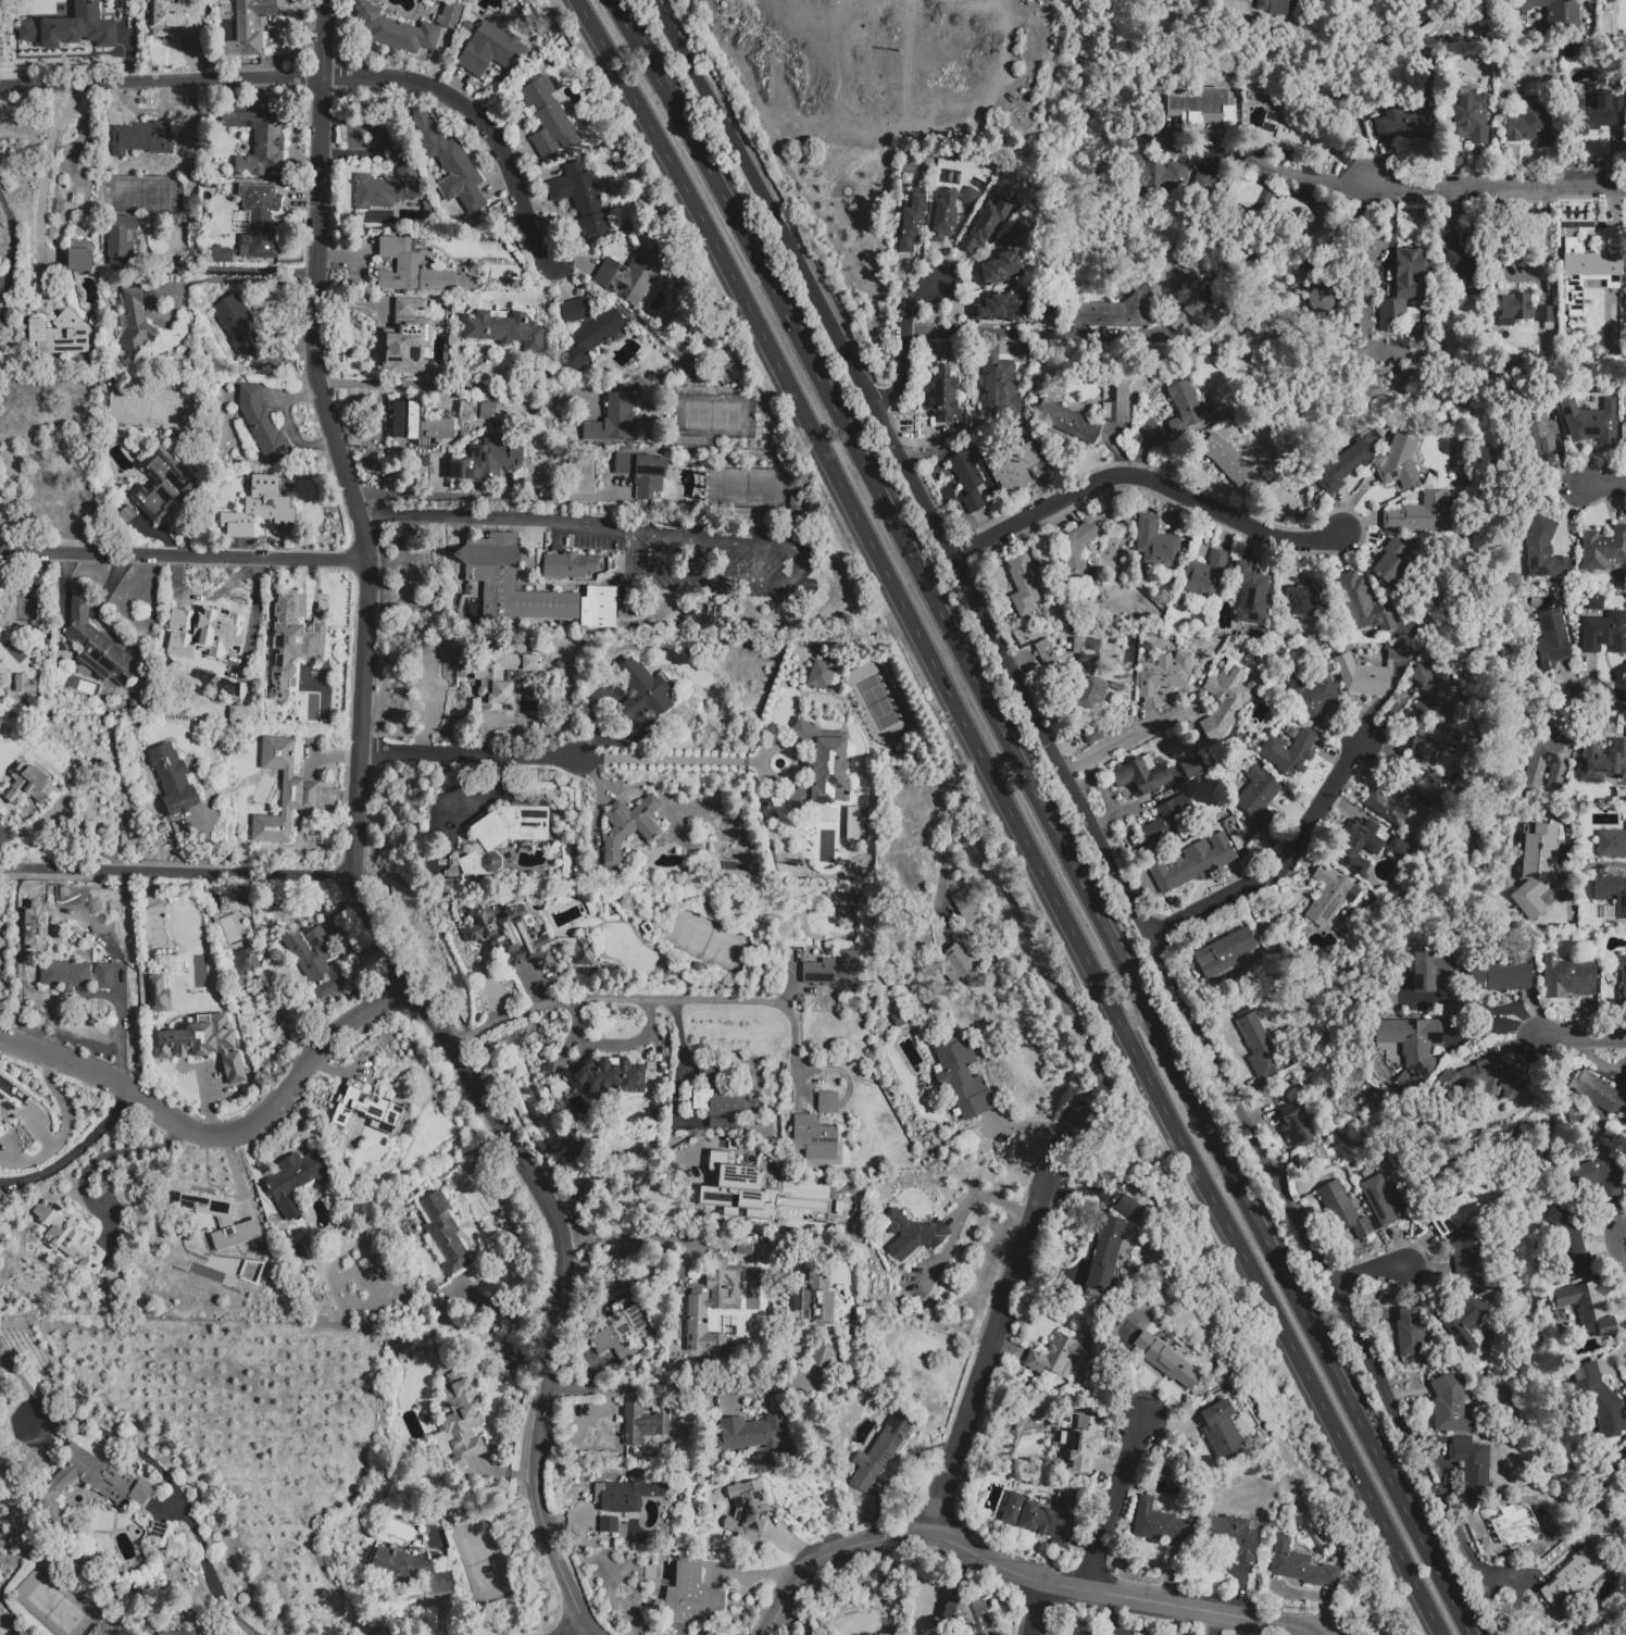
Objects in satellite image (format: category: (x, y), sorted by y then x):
building: (1276, 8)
building: (1477, 8)
building: (449, 16)
building: (1550, 16)
building: (177, 23)
building: (47, 26)
building: (249, 27)
building: (395, 30)
building: (490, 50)
road: (159, 82)
park: (899, 102)
crop: (865, 108)
building: (1203, 109)
building: (1601, 112)
building: (548, 117)
building: (1468, 117)
road: (481, 118)
building: (1406, 125)
building: (1530, 125)
building: (1293, 137)
building: (142, 138)
building: (258, 141)
building: (398, 154)
building: (449, 163)
road: (46, 166)
road: (1296, 174)
building: (1156, 175)
building: (1202, 185)
road: (1494, 185)
building: (386, 189)
building: (971, 197)
building: (1263, 199)
building: (581, 200)
building: (943, 216)
building: (912, 220)
building: (986, 225)
building: (261, 226)
building: (1015, 230)
building: (121, 240)
road: (14, 242)
building: (416, 245)
building: (216, 253)
building: (79, 257)
building: (1460, 262)
road: (245, 269)
building: (1001, 269)
building: (421, 272)
building: (1584, 272)
building: (630, 276)
road: (234, 279)
building: (1401, 287)
building: (1321, 299)
building: (1513, 309)
building: (1001, 310)
building: (1114, 313)
building: (1544, 314)
building: (1196, 315)
building: (1, 323)
building: (135, 323)
building: (240, 326)
building: (505, 329)
building: (586, 333)
road: (1029, 333)
building: (60, 335)
road: (905, 345)
building: (405, 346)
building: (1494, 376)
building: (999, 382)
road: (452, 386)
building: (946, 397)
road: (321, 400)
building: (1118, 403)
building: (1184, 409)
building: (486, 411)
building: (1590, 422)
building: (418, 423)
building: (613, 423)
building: (1068, 423)
building: (259, 425)
building: (1625, 426)
building: (1536, 433)
building: (489, 461)
building: (1347, 464)
building: (1400, 464)
building: (1233, 466)
building: (1014, 467)
building: (643, 475)
road: (1145, 477)
building: (968, 479)
building: (518, 483)
building: (161, 486)
road: (1603, 487)
road: (486, 496)
building: (260, 508)
building: (1418, 513)
road: (446, 516)
building: (125, 517)
road: (584, 524)
building: (1158, 545)
building: (1603, 549)
building: (1542, 552)
road: (184, 556)
building: (1077, 556)
building: (1392, 562)
building: (570, 565)
road: (796, 575)
building: (1204, 576)
building: (510, 583)
building: (1023, 583)
building: (466, 589)
building: (1252, 594)
building: (1308, 597)
building: (1596, 604)
building: (1364, 606)
building: (600, 608)
building: (628, 609)
building: (1604, 633)
building: (203, 634)
building: (1552, 641)
building: (291, 642)
building: (98, 645)
building: (1087, 650)
building: (1047, 657)
building: (1369, 673)
building: (821, 674)
building: (1164, 674)
building: (500, 675)
building: (24, 684)
building: (1116, 686)
building: (643, 692)
building: (1092, 692)
building: (1435, 695)
building: (1314, 697)
building: (1225, 701)
road: (1610, 702)
building: (133, 704)
building: (243, 714)
building: (1092, 736)
road: (1129, 739)
building: (1442, 740)
road: (476, 753)
building: (1289, 753)
building: (1547, 761)
building: (1198, 762)
building: (1603, 762)
building: (823, 767)
road: (1062, 769)
building: (1140, 776)
building: (173, 779)
building: (29, 785)
building: (283, 791)
building: (1255, 796)
building: (1398, 801)
road: (1017, 813)
road: (1048, 814)
building: (1168, 821)
building: (852, 824)
building: (628, 826)
building: (1372, 826)
building: (163, 828)
building: (503, 836)
building: (1612, 845)
building: (1399, 848)
building: (1355, 849)
road: (983, 852)
road: (1278, 863)
building: (1192, 864)
road: (1592, 866)
building: (1536, 870)
building: (451, 871)
road: (176, 872)
building: (1612, 893)
building: (1329, 896)
road: (355, 897)
building: (964, 907)
building: (858, 909)
building: (524, 939)
building: (1224, 952)
building: (314, 961)
building: (242, 962)
building: (958, 963)
building: (1431, 970)
building: (833, 971)
building: (65, 975)
building: (1501, 976)
building: (104, 977)
building: (1567, 977)
building: (1623, 981)
building: (159, 996)
road: (624, 1000)
road: (1476, 1007)
building: (1242, 1012)
building: (898, 1020)
road: (1585, 1038)
building: (1412, 1041)
building: (203, 1044)
building: (1259, 1047)
building: (1625, 1072)
building: (608, 1078)
building: (963, 1078)
road: (472, 1079)
building: (1479, 1079)
building: (191, 1088)
building: (1598, 1093)
building: (827, 1102)
building: (720, 1103)
road: (63, 1106)
building: (8, 1110)
building: (371, 1110)
building: (717, 1123)
building: (1297, 1127)
road: (224, 1136)
building: (814, 1137)
road: (72, 1150)
road: (620, 1174)
building: (296, 1180)
building: (1590, 1181)
building: (734, 1188)
building: (1625, 1190)
building: (1386, 1200)
road: (548, 1206)
road: (960, 1208)
building: (1342, 1211)
building: (1456, 1211)
building: (1134, 1212)
building: (222, 1221)
road: (1029, 1232)
building: (443, 1233)
building: (913, 1235)
road: (616, 1236)
building: (67, 1239)
building: (1569, 1241)
building: (1106, 1257)
building: (1473, 1259)
road: (1367, 1269)
building: (217, 1271)
building: (430, 1286)
building: (821, 1299)
building: (709, 1300)
building: (1587, 1308)
building: (1462, 1323)
building: (625, 1336)
building: (1411, 1336)
building: (1056, 1356)
building: (822, 1357)
building: (1167, 1363)
road: (663, 1389)
building: (1599, 1400)
building: (1451, 1407)
building: (461, 1418)
building: (645, 1425)
building: (751, 1433)
building: (1222, 1433)
road: (535, 1441)
building: (1080, 1444)
building: (881, 1450)
building: (1473, 1466)
road: (903, 1473)
building: (91, 1485)
road: (168, 1490)
building: (624, 1502)
road: (1118, 1507)
building: (748, 1511)
building: (1043, 1518)
building: (1158, 1523)
building: (1512, 1524)
building: (1231, 1536)
road: (1017, 1565)
building: (1301, 1567)
building: (409, 1569)
road: (1491, 1574)
building: (1573, 1577)
building: (691, 1595)
road: (1042, 1606)
park: (54, 1607)
building: (968, 1613)
road: (572, 1627)
building: (183, 1633)
building: (1086, 1633)
road: (1316, 1633)

